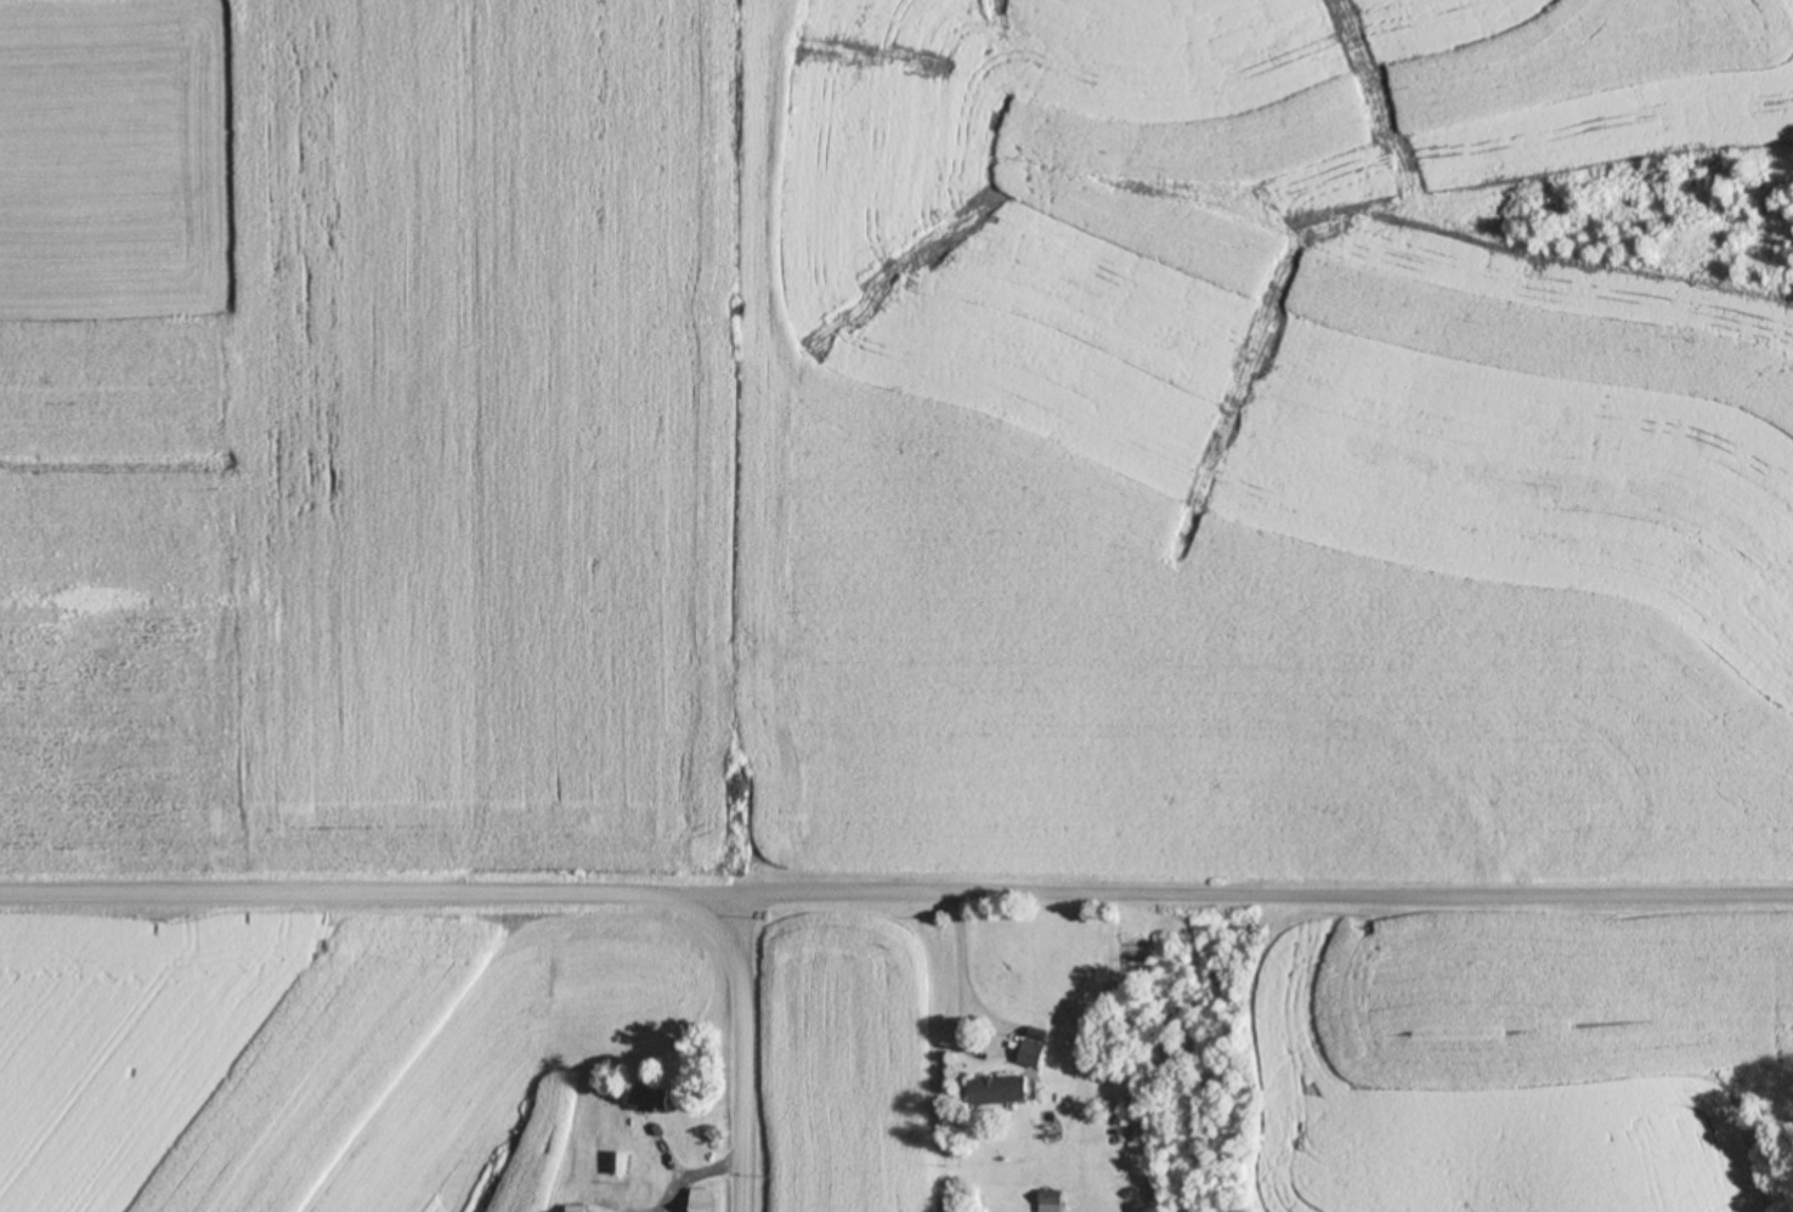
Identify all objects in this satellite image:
road: (363, 896)
road: (1259, 896)
building: (1031, 1053)
road: (748, 1055)
building: (999, 1089)
building: (649, 1098)
building: (1052, 1196)
building: (703, 1199)
building: (573, 1207)

